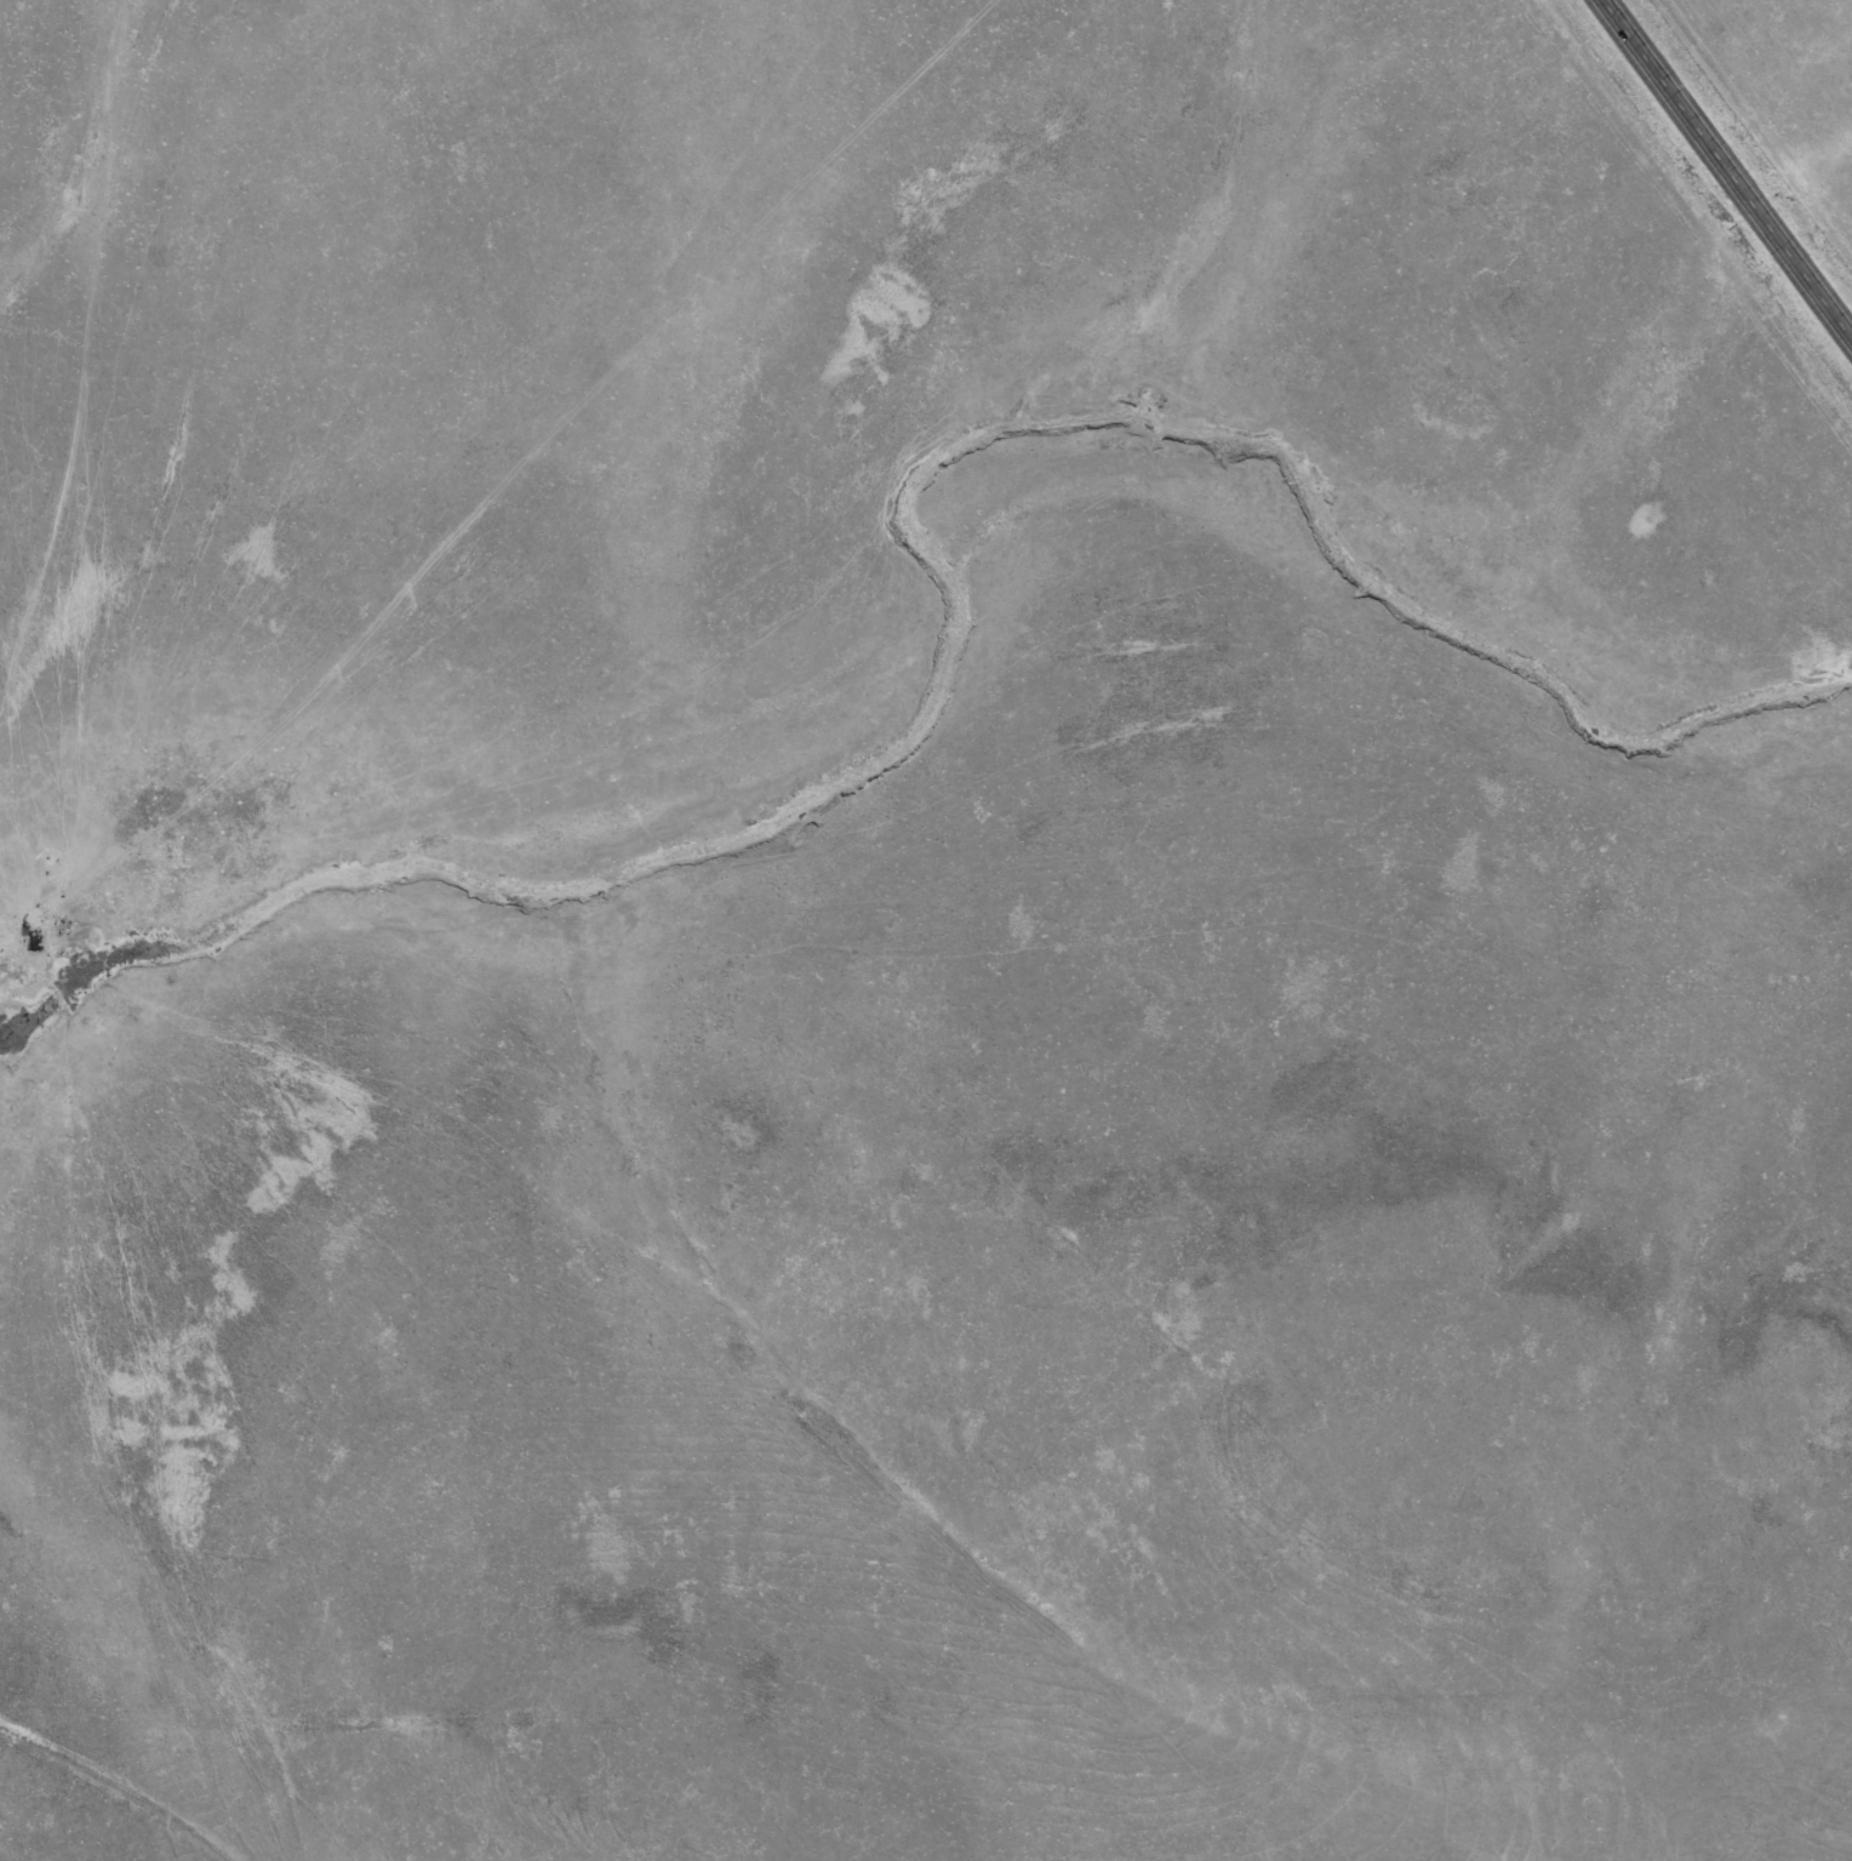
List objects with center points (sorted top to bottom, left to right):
road: (1730, 165)
road: (8, 946)

